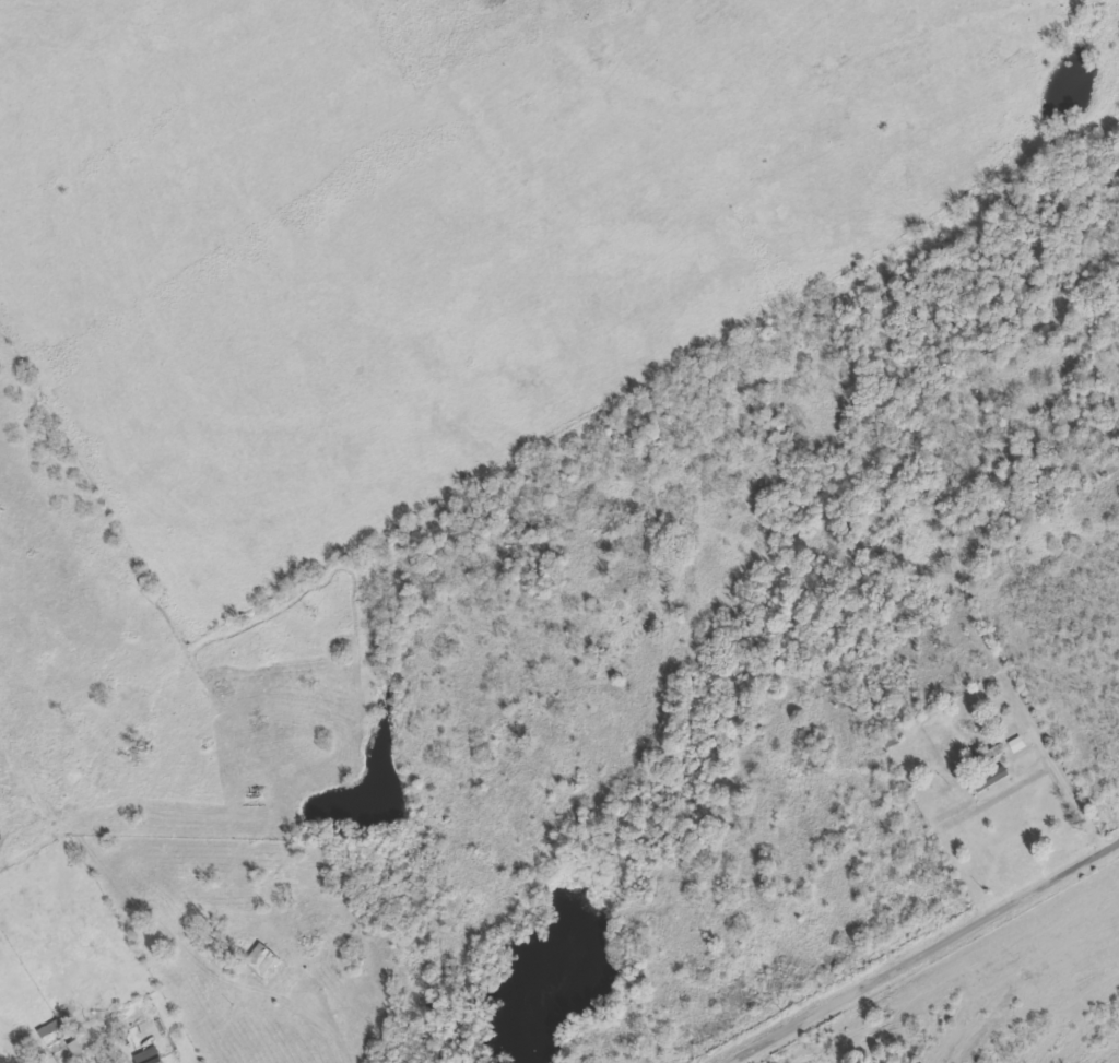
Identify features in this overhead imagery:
building: (904, 611)
road: (1040, 735)
building: (1018, 745)
building: (983, 758)
building: (998, 777)
road: (926, 952)
building: (261, 962)
building: (50, 1028)
building: (80, 1047)
building: (149, 1056)

